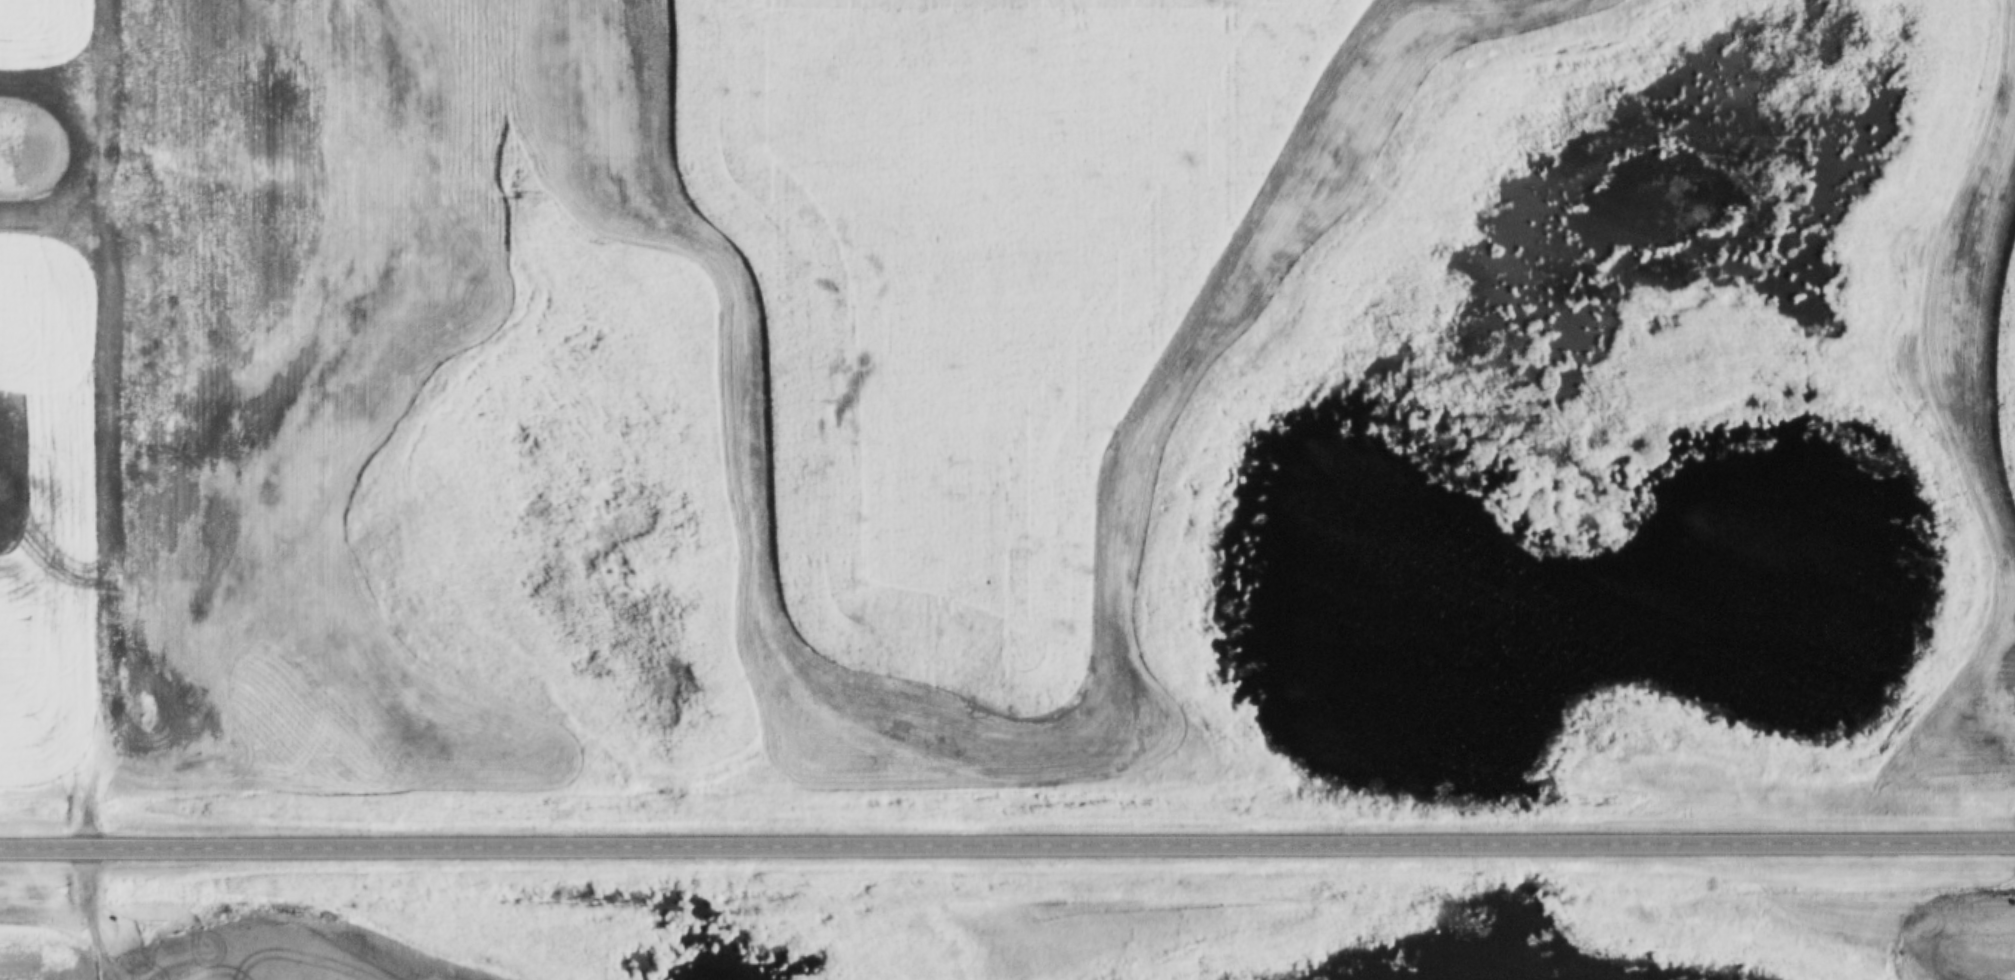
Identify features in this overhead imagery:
road: (1007, 842)

